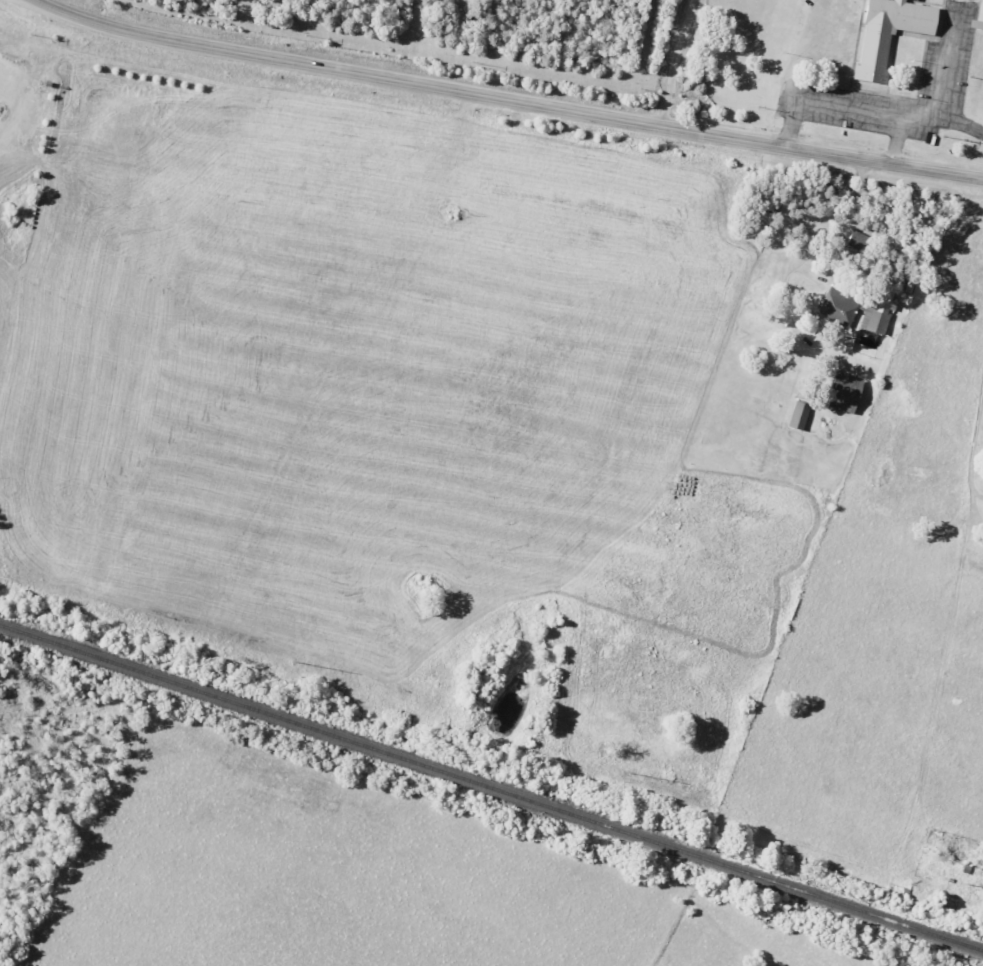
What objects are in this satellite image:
building: (912, 0)
building: (975, 25)
building: (886, 33)
road: (677, 63)
road: (941, 88)
road: (506, 99)
road: (844, 110)
road: (959, 127)
building: (859, 242)
road: (830, 286)
building: (836, 310)
building: (841, 392)
building: (797, 416)
road: (973, 442)
railway: (491, 788)

